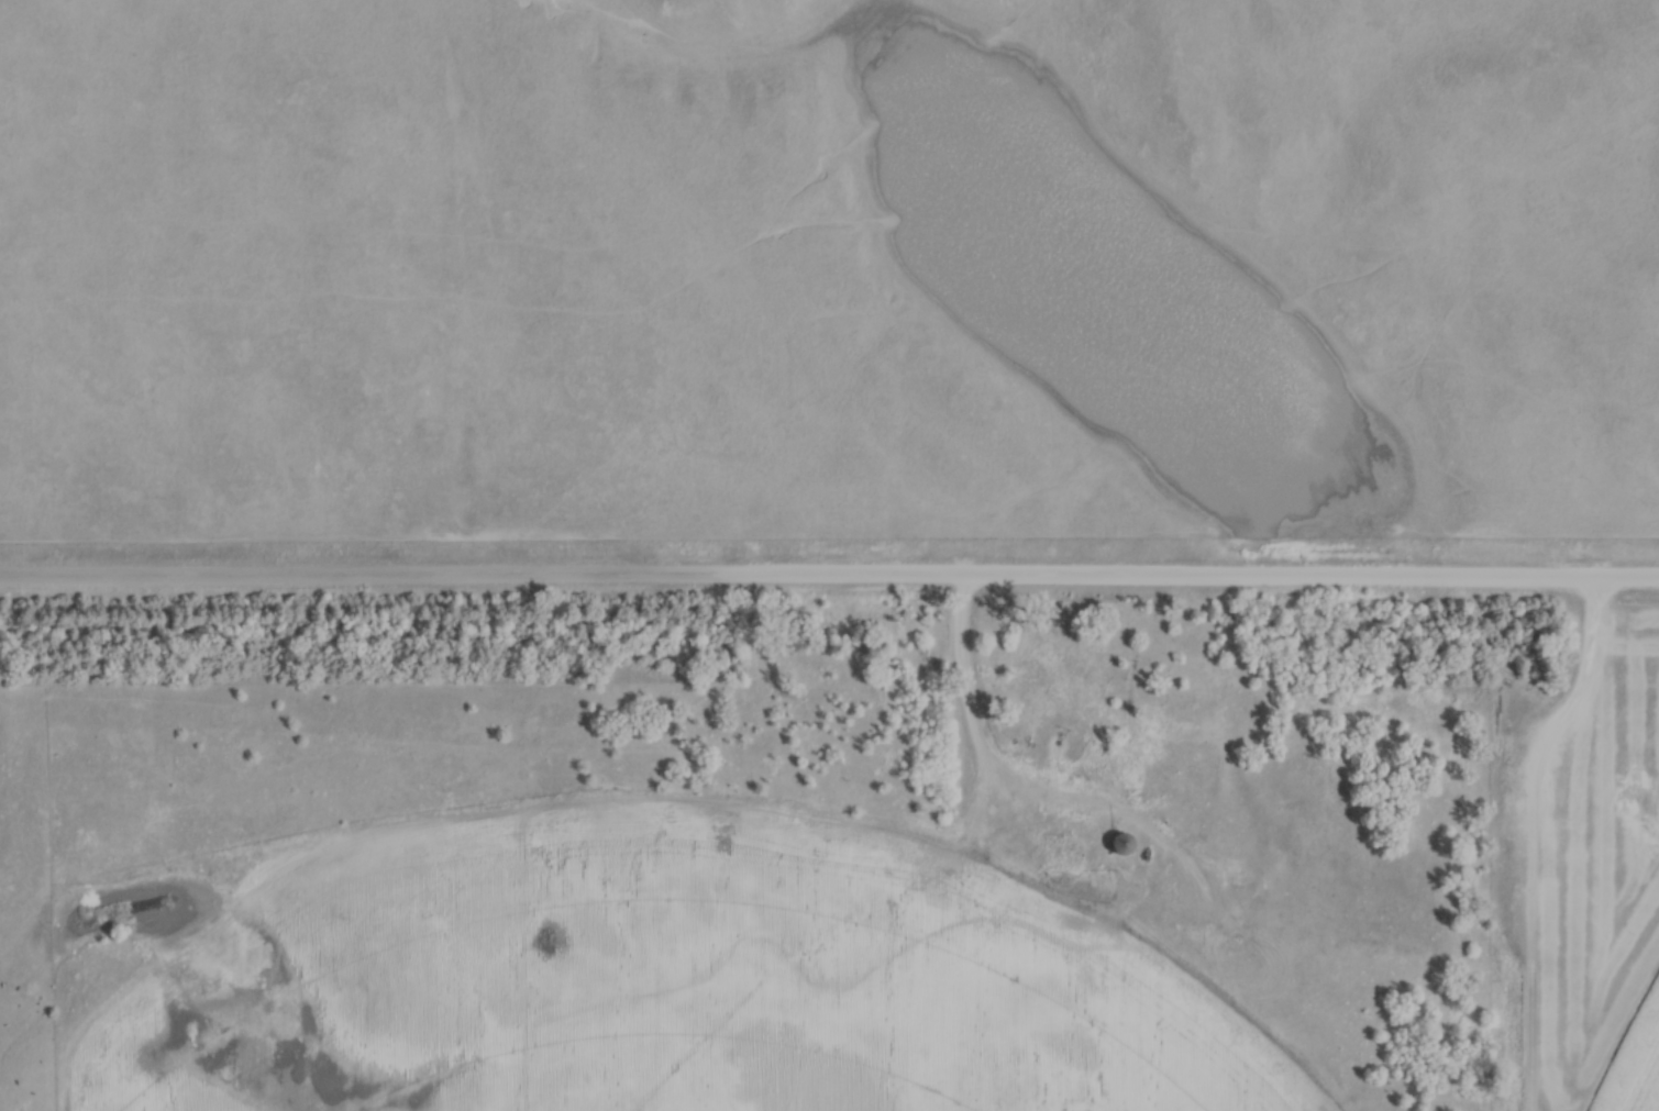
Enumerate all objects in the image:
road: (829, 575)
road: (963, 699)
building: (1117, 846)

